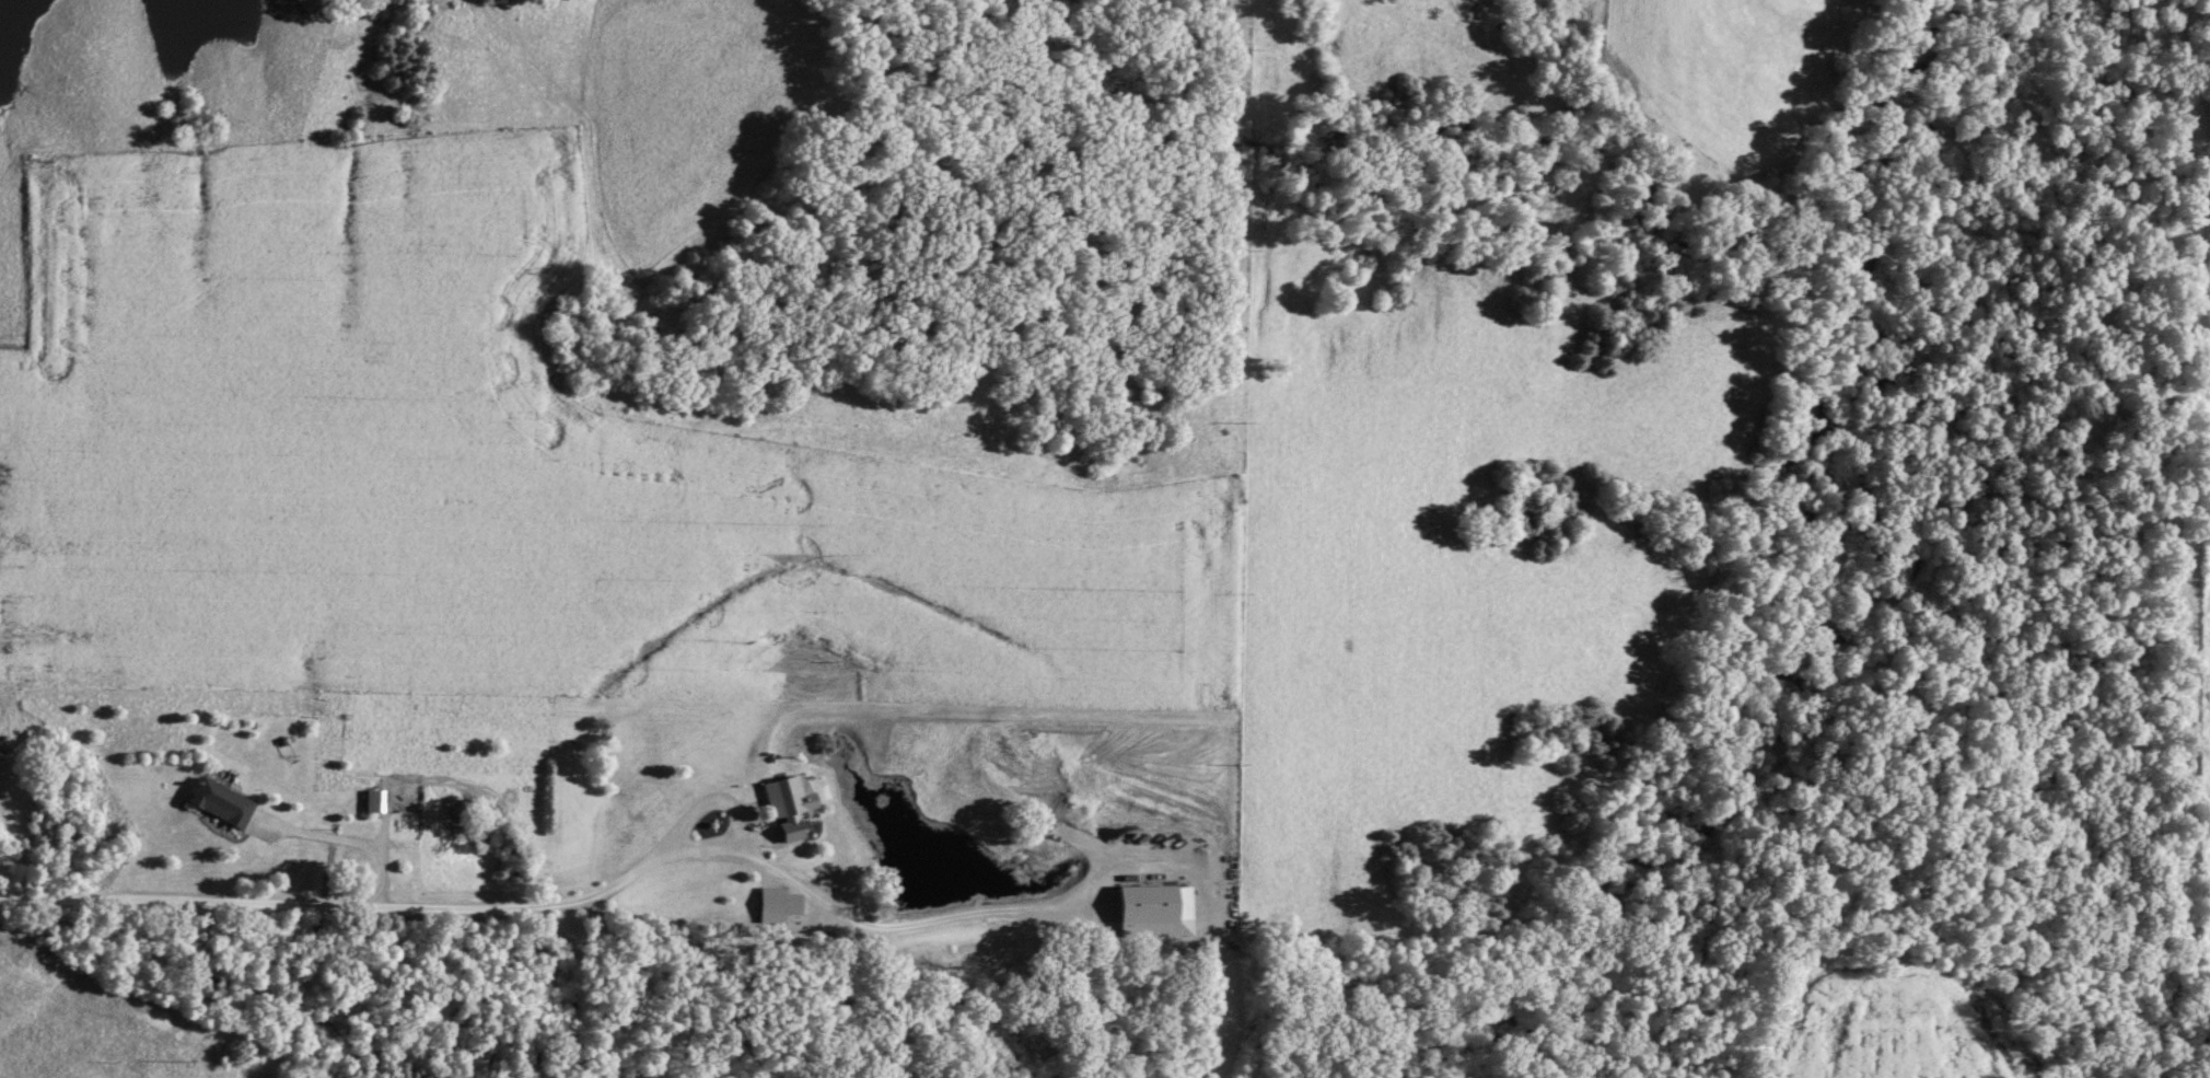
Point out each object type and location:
building: (373, 798)
building: (220, 800)
building: (784, 802)
road: (391, 895)
building: (775, 902)
building: (1153, 907)

